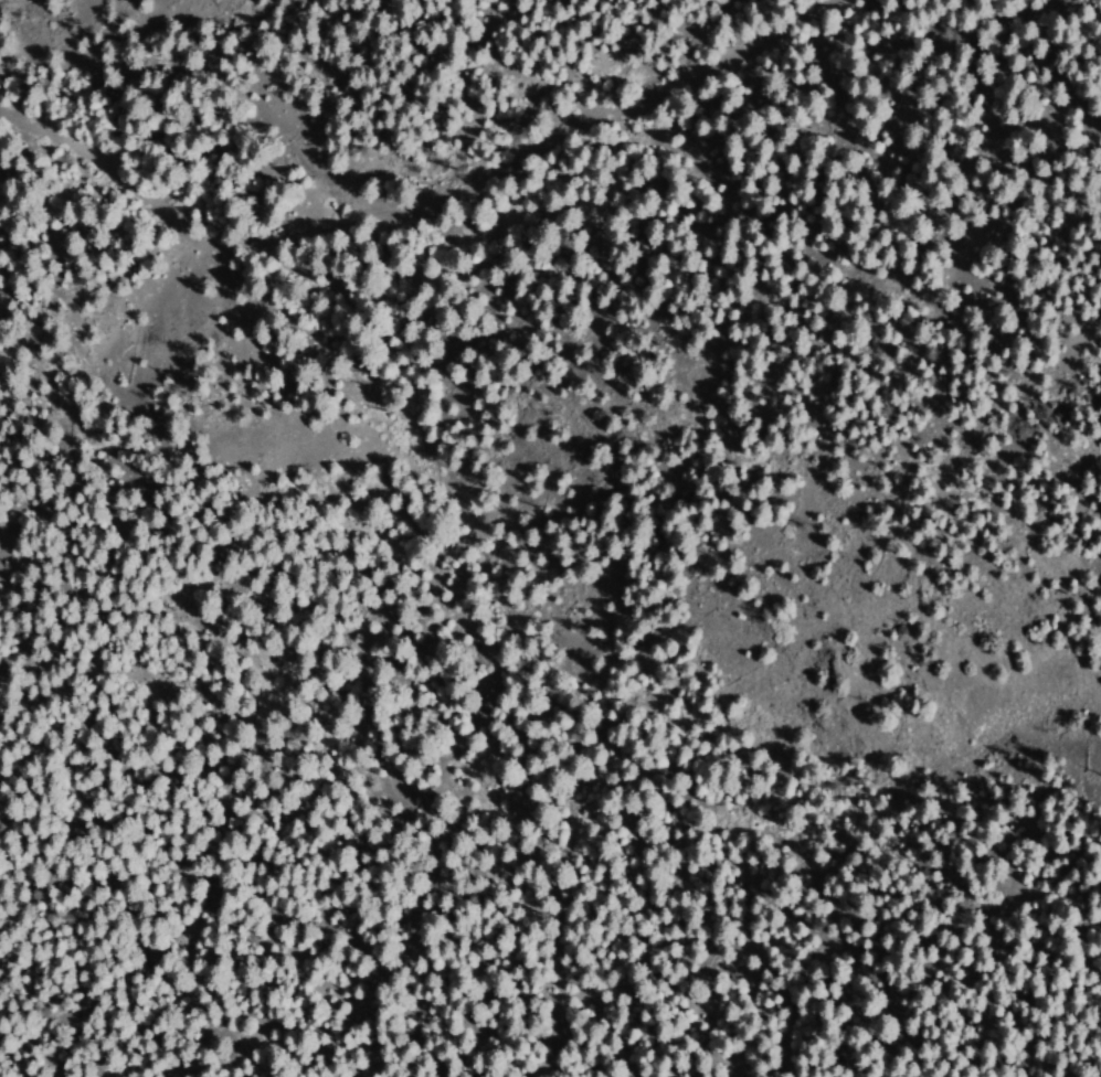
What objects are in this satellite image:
road: (148, 172)

